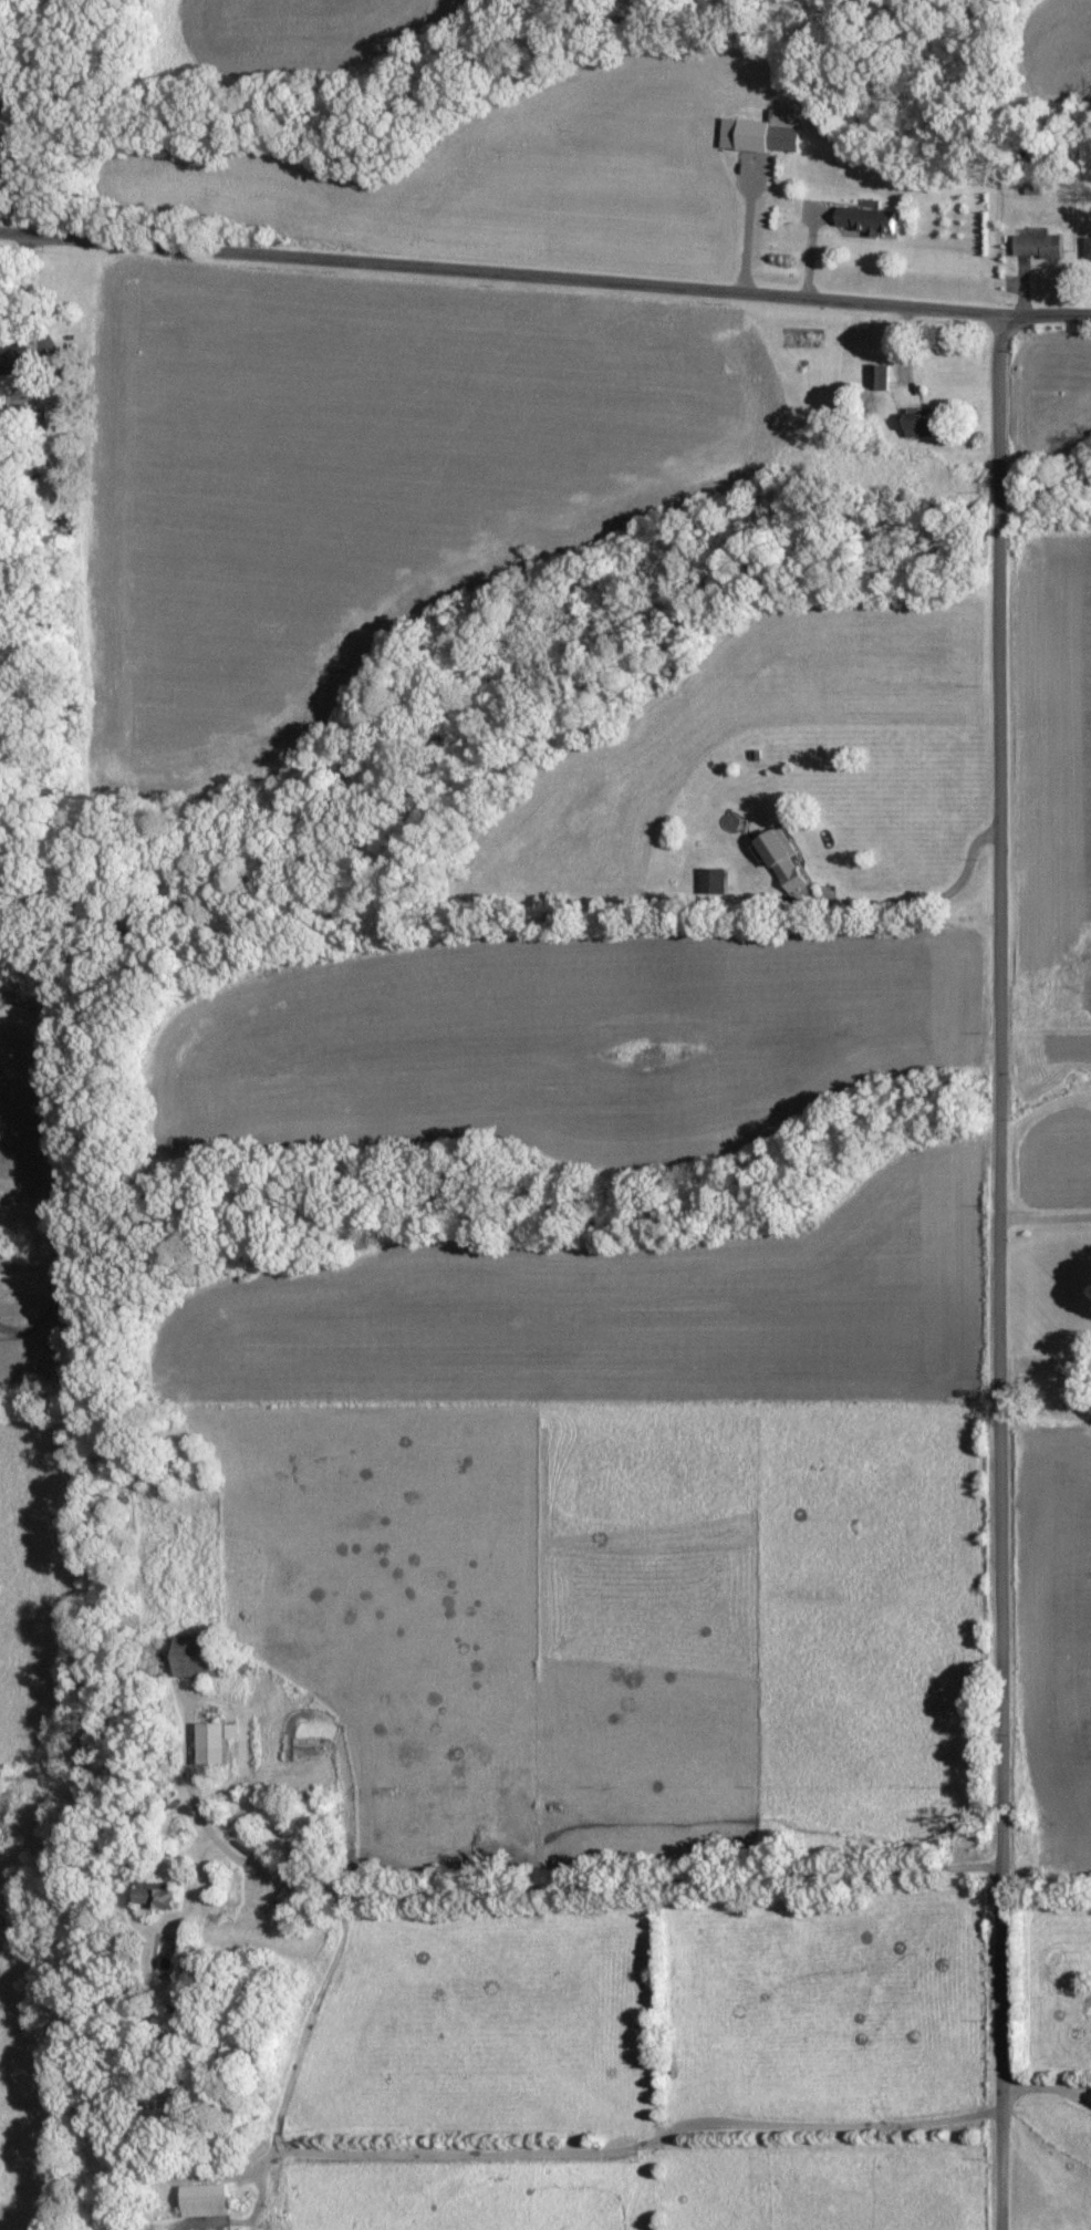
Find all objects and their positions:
building: (765, 134)
building: (866, 221)
building: (1039, 247)
building: (1088, 250)
road: (500, 267)
road: (27, 286)
road: (1046, 310)
building: (14, 353)
building: (880, 378)
building: (921, 426)
building: (783, 861)
road: (917, 896)
road: (1046, 1215)
road: (1000, 1270)
building: (198, 1658)
building: (214, 1742)
building: (157, 1898)
road: (1029, 2084)
road: (1073, 2084)
road: (1073, 2092)
road: (374, 2147)
road: (257, 2168)
building: (206, 2201)

